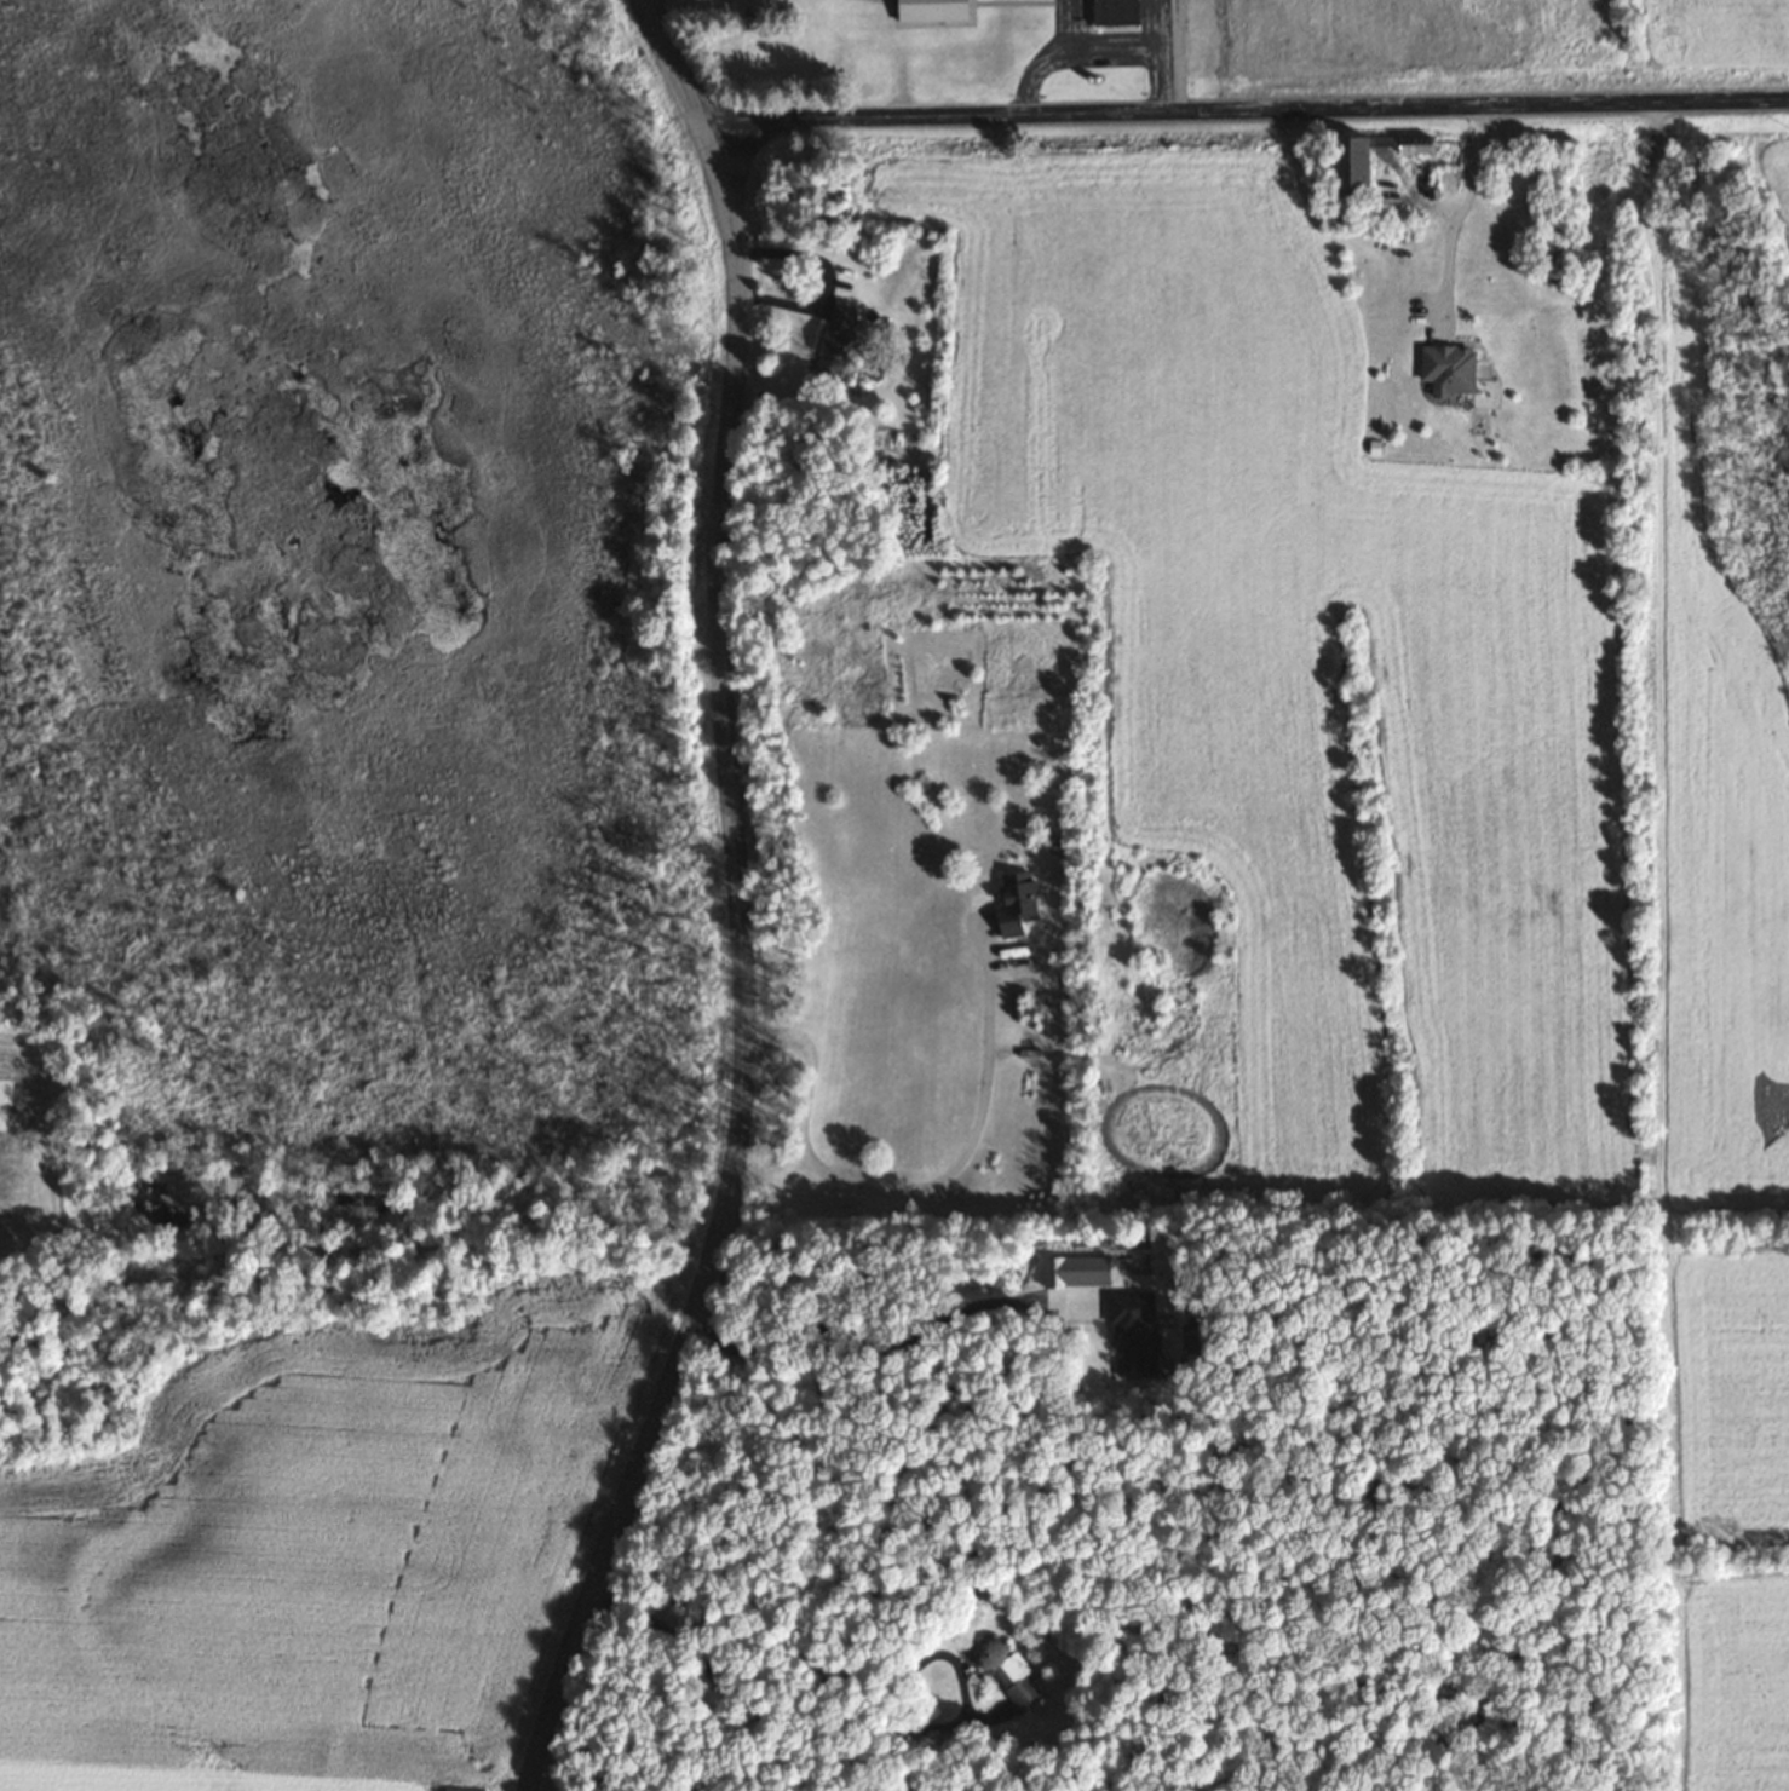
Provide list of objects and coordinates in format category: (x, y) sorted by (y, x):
building: (928, 12)
building: (1112, 12)
road: (668, 61)
road: (1242, 110)
building: (1344, 166)
road: (1471, 207)
building: (834, 339)
building: (1444, 370)
building: (1012, 899)
road: (744, 969)
building: (1012, 1676)
building: (459, 1789)

